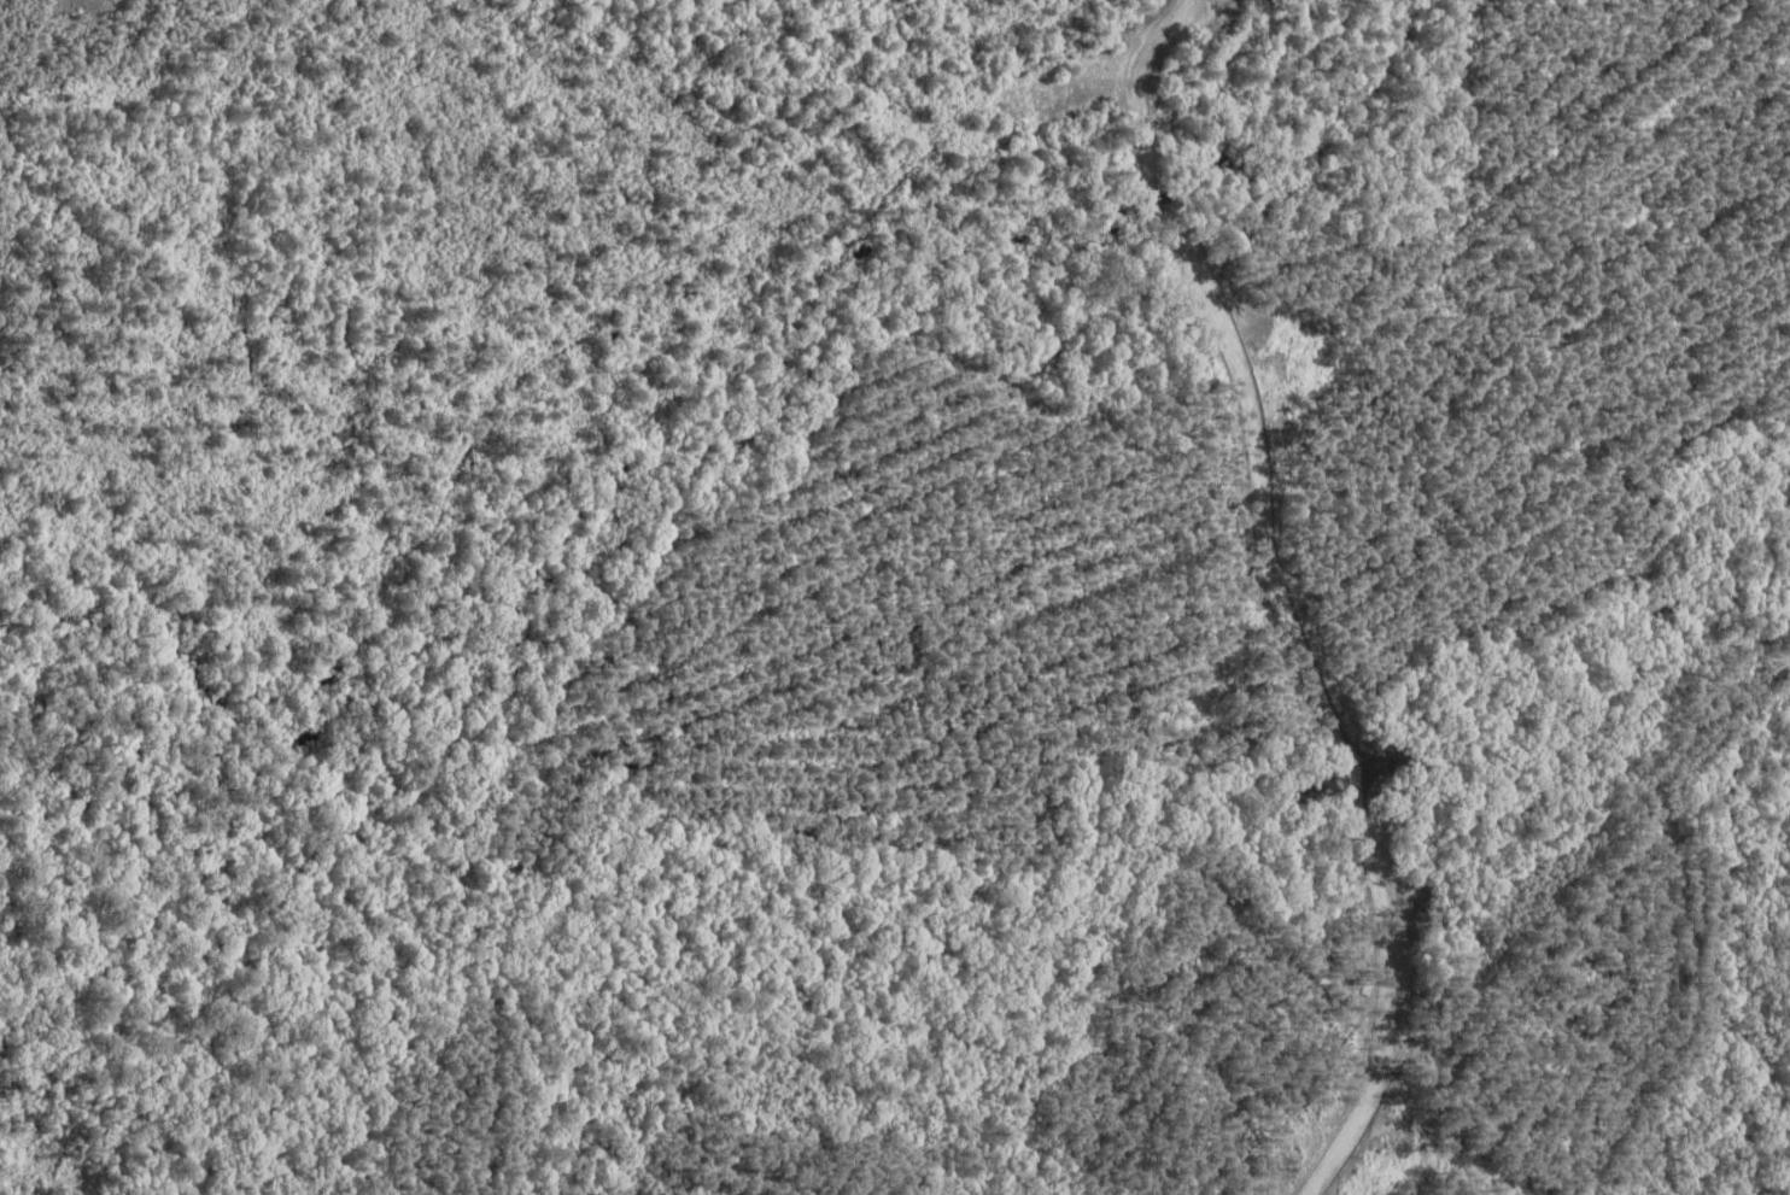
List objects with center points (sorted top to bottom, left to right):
road: (1172, 1)

